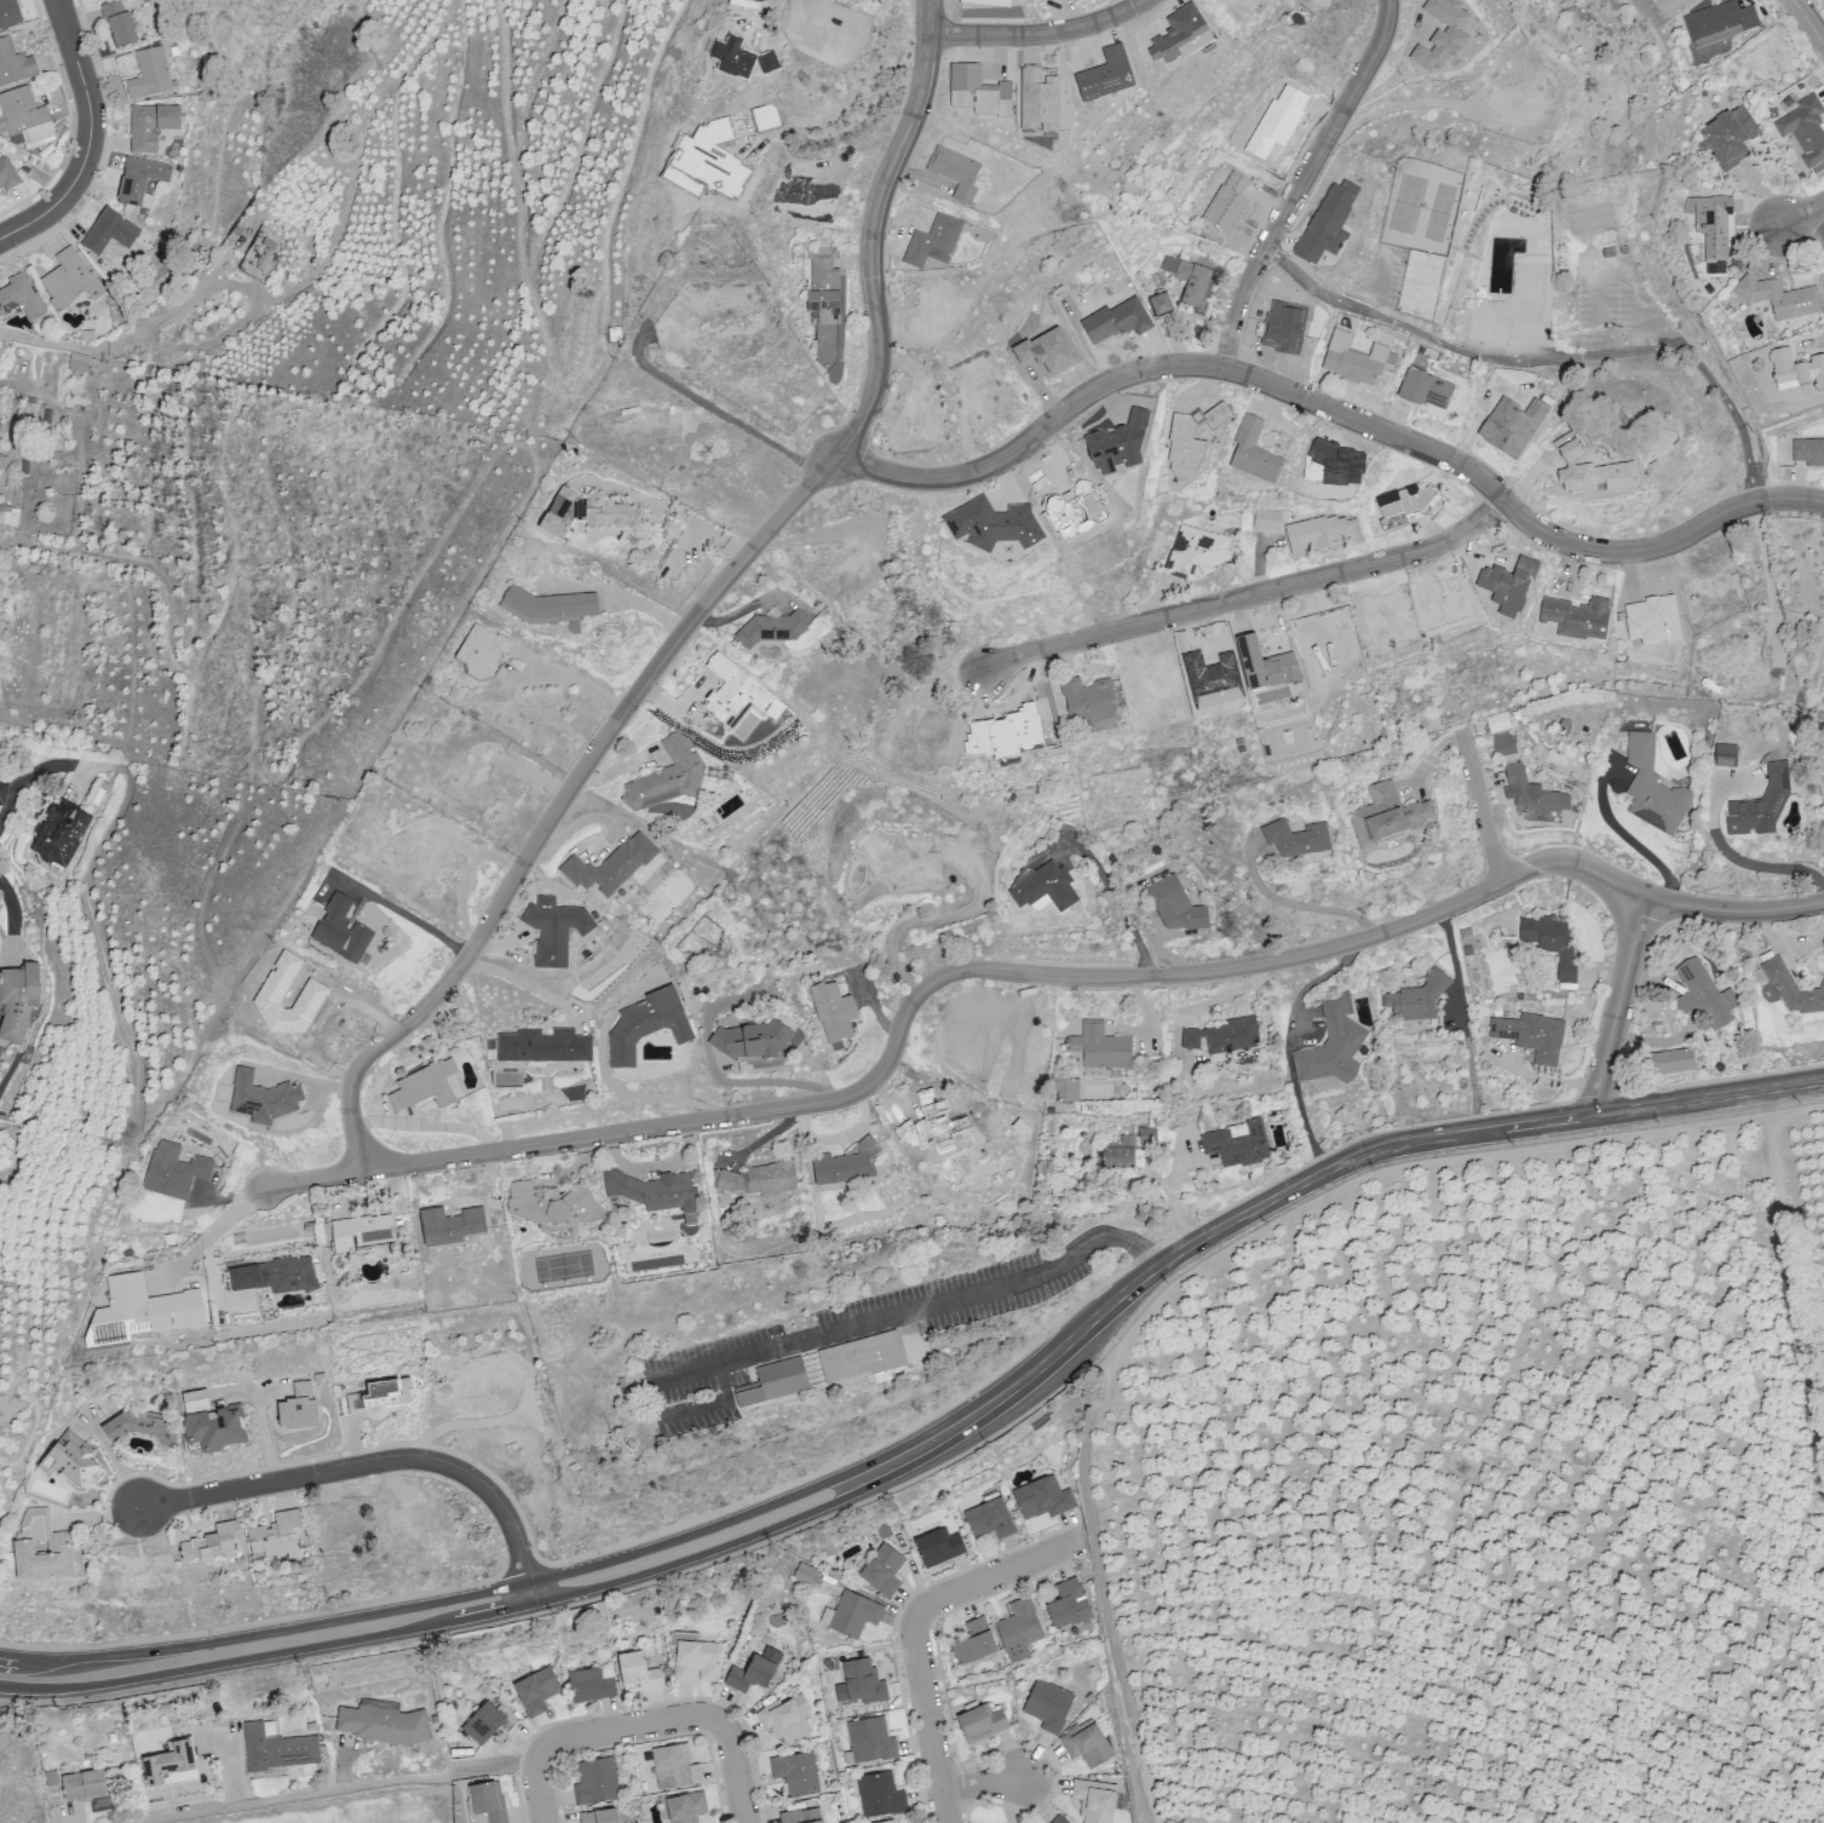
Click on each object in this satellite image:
road: (765, 13)
building: (8, 15)
road: (1807, 21)
building: (1720, 23)
building: (120, 33)
road: (1045, 35)
building: (15, 67)
building: (149, 76)
road: (1410, 99)
building: (23, 120)
road: (842, 122)
building: (149, 126)
building: (1806, 130)
road: (91, 138)
building: (1728, 138)
building: (957, 173)
building: (7, 176)
building: (139, 183)
road: (1306, 185)
building: (1701, 185)
road: (1801, 214)
building: (1711, 229)
building: (109, 234)
building: (933, 242)
building: (259, 253)
building: (70, 283)
building: (1193, 283)
building: (1778, 298)
building: (21, 303)
building: (824, 304)
building: (1161, 304)
building: (1354, 358)
building: (79, 364)
road: (1546, 366)
building: (1425, 390)
road: (709, 406)
building: (629, 413)
road: (1334, 413)
building: (1192, 441)
building: (1254, 452)
building: (1808, 452)
building: (1406, 506)
building: (588, 514)
building: (1266, 519)
building: (1320, 533)
building: (1196, 553)
road: (1250, 598)
building: (551, 606)
road: (703, 608)
building: (773, 628)
building: (483, 651)
building: (1266, 666)
road: (572, 677)
building: (738, 695)
building: (1088, 700)
building: (1504, 744)
building: (1726, 755)
building: (667, 777)
road: (30, 778)
building: (1653, 786)
building: (2, 793)
building: (1536, 794)
road: (1480, 804)
building: (1761, 805)
building: (1389, 816)
building: (59, 832)
road: (1626, 838)
building: (1300, 840)
road: (1751, 863)
building: (612, 866)
building: (1043, 886)
road: (1291, 903)
building: (1175, 909)
road: (407, 915)
building: (340, 931)
building: (554, 932)
building: (1554, 944)
road: (1023, 972)
road: (522, 984)
building: (1794, 990)
building: (1707, 996)
building: (17, 1000)
building: (1417, 1000)
road: (1618, 1003)
building: (834, 1012)
building: (646, 1025)
building: (1227, 1037)
building: (1536, 1037)
building: (755, 1042)
building: (545, 1047)
building: (1103, 1047)
building: (1334, 1049)
building: (1669, 1060)
building: (422, 1088)
building: (1070, 1092)
road: (633, 1095)
road: (1713, 1097)
building: (266, 1098)
building: (1150, 1137)
building: (1237, 1143)
building: (1121, 1154)
building: (847, 1164)
building: (183, 1168)
road: (1308, 1178)
building: (773, 1179)
building: (726, 1181)
building: (655, 1192)
building: (553, 1207)
building: (450, 1225)
building: (369, 1232)
road: (206, 1235)
building: (283, 1276)
road: (907, 1305)
building: (148, 1312)
building: (823, 1364)
building: (379, 1397)
building: (297, 1408)
road: (969, 1414)
building: (209, 1422)
building: (138, 1426)
building: (69, 1460)
road: (366, 1465)
building: (1042, 1497)
building: (989, 1518)
building: (276, 1535)
building: (212, 1545)
building: (937, 1546)
building: (40, 1548)
building: (881, 1569)
building: (805, 1572)
road: (983, 1577)
road: (528, 1593)
road: (443, 1599)
building: (1066, 1604)
building: (850, 1614)
road: (447, 1621)
building: (1018, 1629)
building: (972, 1641)
building: (694, 1657)
building: (637, 1672)
building: (749, 1673)
building: (859, 1681)
building: (588, 1685)
building: (535, 1690)
building: (1047, 1704)
building: (784, 1718)
building: (485, 1721)
building: (382, 1723)
building: (980, 1723)
road: (623, 1725)
road: (927, 1730)
building: (868, 1738)
building: (1084, 1743)
building: (276, 1747)
building: (167, 1761)
building: (673, 1766)
building: (795, 1772)
road: (735, 1773)
building: (595, 1779)
road: (979, 1781)
building: (81, 1784)
road: (335, 1788)
road: (539, 1794)
building: (879, 1794)
building: (1093, 1800)
building: (485, 1802)
building: (684, 1806)
building: (598, 1816)
building: (800, 1816)
building: (1058, 1819)
building: (885, 1821)

